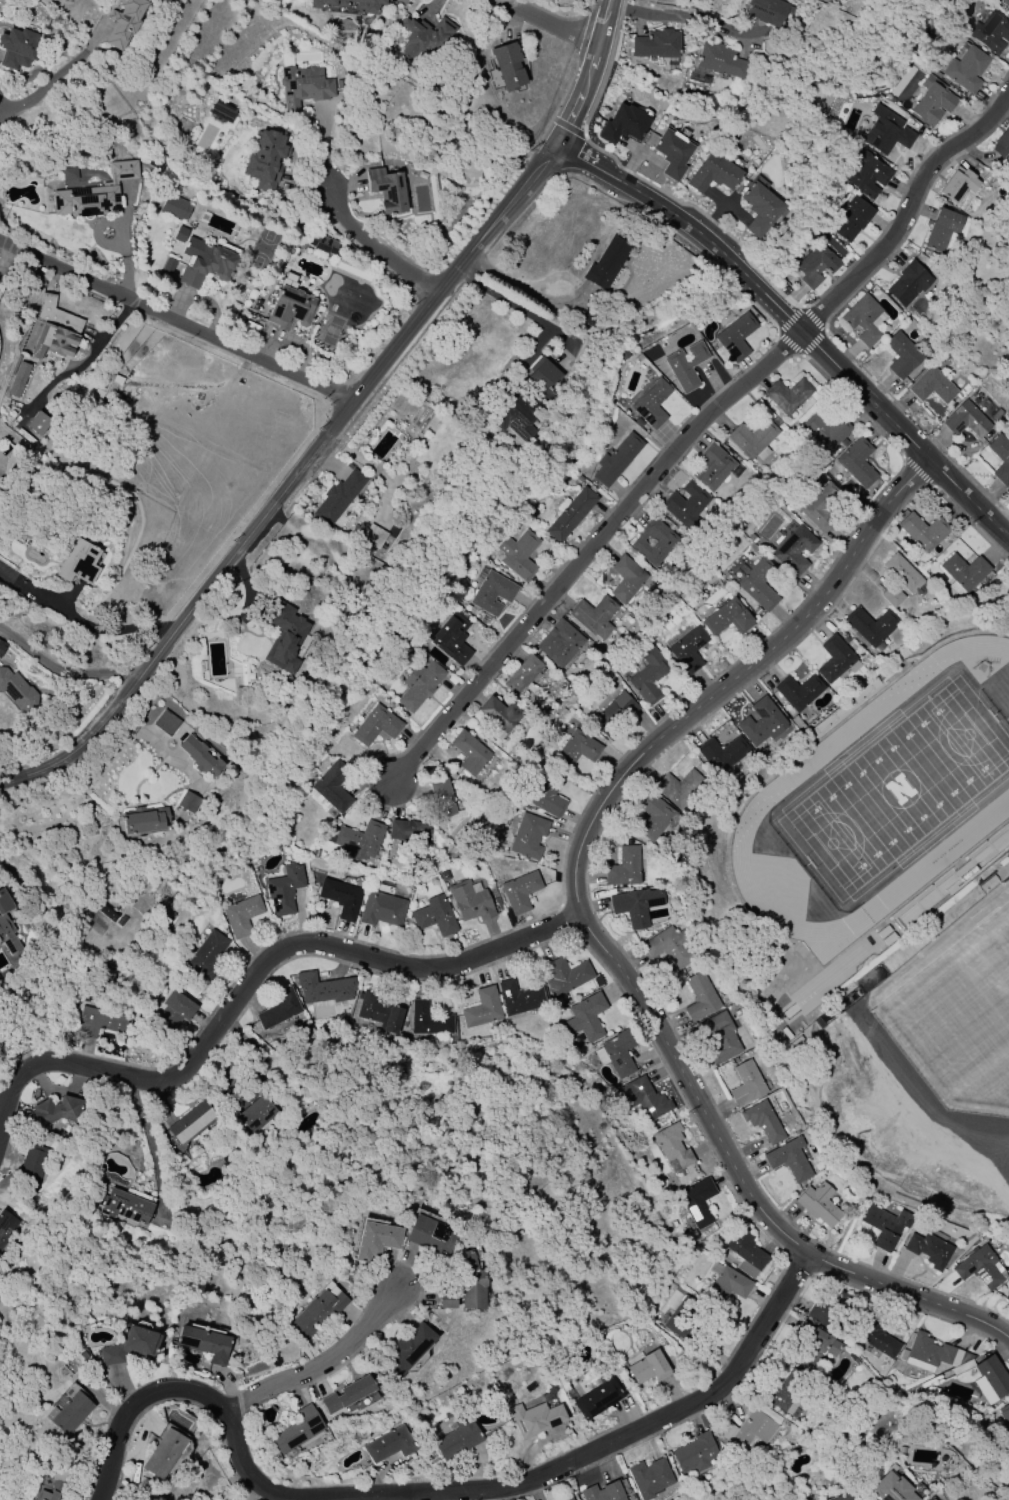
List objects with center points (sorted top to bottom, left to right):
building: (1002, 2)
building: (365, 7)
building: (765, 10)
building: (1008, 15)
road: (683, 18)
road: (553, 21)
building: (124, 22)
building: (991, 32)
building: (425, 35)
building: (656, 44)
building: (18, 47)
building: (720, 61)
road: (73, 62)
building: (507, 65)
road: (604, 66)
building: (966, 69)
building: (339, 83)
building: (303, 86)
building: (932, 101)
road: (18, 103)
building: (223, 109)
building: (623, 124)
building: (886, 132)
building: (1002, 143)
building: (672, 152)
building: (265, 160)
building: (713, 173)
building: (866, 175)
building: (958, 184)
building: (387, 189)
building: (94, 193)
building: (175, 207)
building: (760, 209)
building: (852, 218)
road: (909, 218)
building: (942, 229)
road: (97, 233)
road: (123, 239)
building: (322, 244)
road: (375, 246)
road: (7, 256)
building: (205, 262)
building: (606, 263)
building: (815, 265)
building: (167, 268)
building: (908, 283)
road: (526, 289)
building: (291, 309)
road: (524, 313)
road: (174, 319)
building: (862, 319)
road: (796, 325)
building: (735, 338)
building: (54, 341)
road: (535, 342)
building: (902, 355)
road: (85, 363)
building: (685, 366)
building: (18, 380)
building: (931, 386)
building: (787, 395)
building: (526, 400)
building: (651, 403)
road: (337, 418)
building: (965, 420)
building: (38, 422)
building: (826, 431)
building: (752, 438)
building: (1000, 457)
building: (617, 459)
building: (856, 462)
building: (712, 467)
building: (338, 497)
building: (686, 504)
building: (819, 507)
building: (572, 514)
building: (923, 531)
building: (373, 537)
building: (654, 542)
road: (592, 545)
building: (794, 550)
building: (518, 555)
building: (78, 563)
building: (964, 571)
building: (902, 573)
building: (627, 579)
building: (758, 584)
building: (492, 593)
building: (891, 596)
building: (594, 615)
building: (726, 618)
building: (870, 625)
road: (105, 629)
building: (282, 638)
building: (452, 638)
building: (559, 644)
building: (2, 647)
building: (687, 650)
building: (834, 659)
road: (62, 670)
building: (244, 674)
building: (522, 674)
building: (647, 675)
road: (734, 682)
building: (419, 685)
building: (17, 691)
building: (797, 691)
building: (499, 713)
building: (613, 714)
building: (165, 722)
building: (761, 722)
building: (795, 722)
building: (376, 725)
road: (150, 740)
building: (575, 749)
building: (469, 752)
building: (720, 753)
building: (199, 755)
building: (332, 786)
building: (678, 787)
park: (900, 793)
building: (547, 795)
track: (763, 800)
building: (188, 802)
building: (445, 804)
building: (655, 818)
building: (143, 820)
building: (409, 831)
building: (528, 836)
building: (360, 840)
building: (624, 868)
building: (443, 875)
building: (283, 890)
building: (519, 892)
building: (340, 897)
building: (470, 901)
building: (635, 905)
building: (381, 909)
building: (107, 913)
building: (241, 915)
building: (434, 917)
building: (6, 925)
building: (887, 934)
building: (667, 947)
building: (207, 954)
road: (255, 974)
building: (565, 976)
park: (832, 976)
building: (323, 988)
building: (699, 997)
building: (519, 998)
building: (482, 1008)
building: (279, 1009)
building: (379, 1010)
building: (172, 1015)
park: (949, 1016)
building: (586, 1018)
building: (428, 1020)
building: (97, 1022)
building: (718, 1037)
building: (619, 1053)
building: (746, 1084)
building: (644, 1098)
building: (53, 1112)
building: (257, 1114)
building: (191, 1122)
building: (763, 1122)
road: (151, 1137)
building: (672, 1147)
building: (788, 1160)
building: (30, 1166)
road: (745, 1182)
building: (697, 1202)
building: (818, 1204)
building: (125, 1208)
building: (6, 1225)
building: (884, 1226)
building: (430, 1236)
building: (374, 1241)
building: (746, 1248)
building: (929, 1249)
building: (978, 1267)
building: (469, 1281)
building: (728, 1285)
building: (1007, 1296)
building: (448, 1300)
building: (318, 1311)
building: (821, 1317)
building: (682, 1318)
building: (875, 1338)
building: (204, 1342)
building: (812, 1344)
building: (130, 1345)
building: (405, 1350)
building: (934, 1352)
building: (649, 1367)
road: (323, 1369)
building: (990, 1379)
building: (346, 1394)
building: (776, 1395)
building: (597, 1399)
building: (69, 1411)
building: (1004, 1414)
building: (535, 1418)
building: (750, 1429)
building: (298, 1430)
building: (457, 1439)
building: (388, 1445)
building: (163, 1454)
building: (695, 1454)
building: (649, 1477)
building: (54, 1484)
building: (892, 1488)
building: (606, 1491)
road: (434, 1496)
building: (844, 1497)
road: (384, 1498)
building: (930, 1498)
building: (569, 1499)

